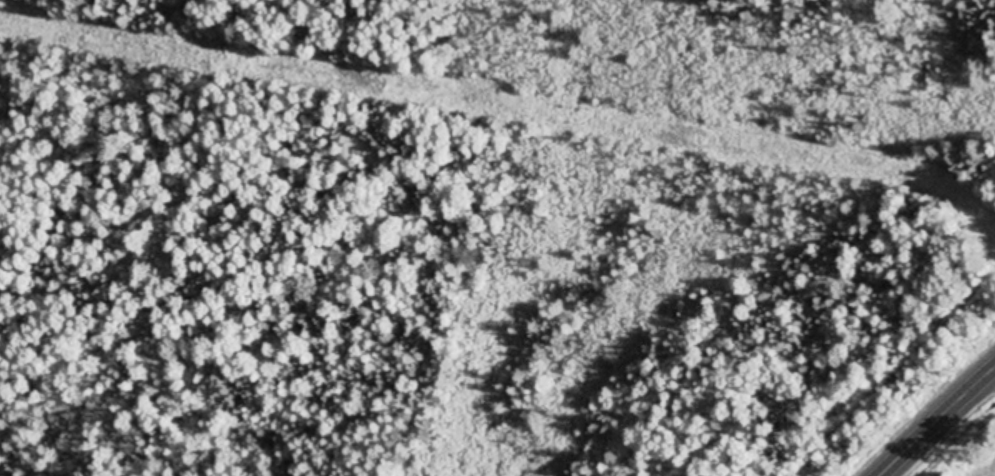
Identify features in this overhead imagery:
road: (937, 423)
park: (960, 443)

